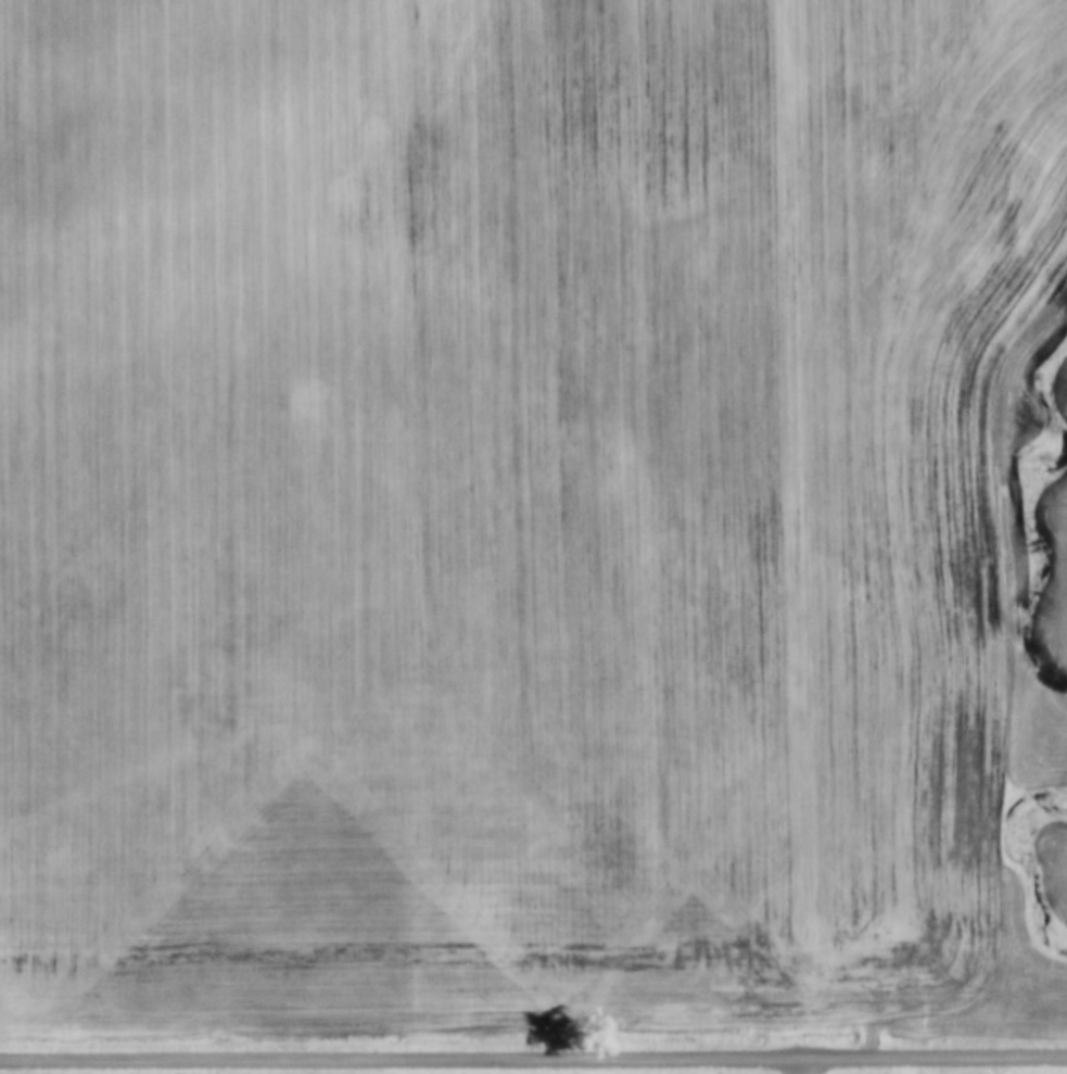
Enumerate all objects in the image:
road: (533, 1061)
road: (875, 1064)

